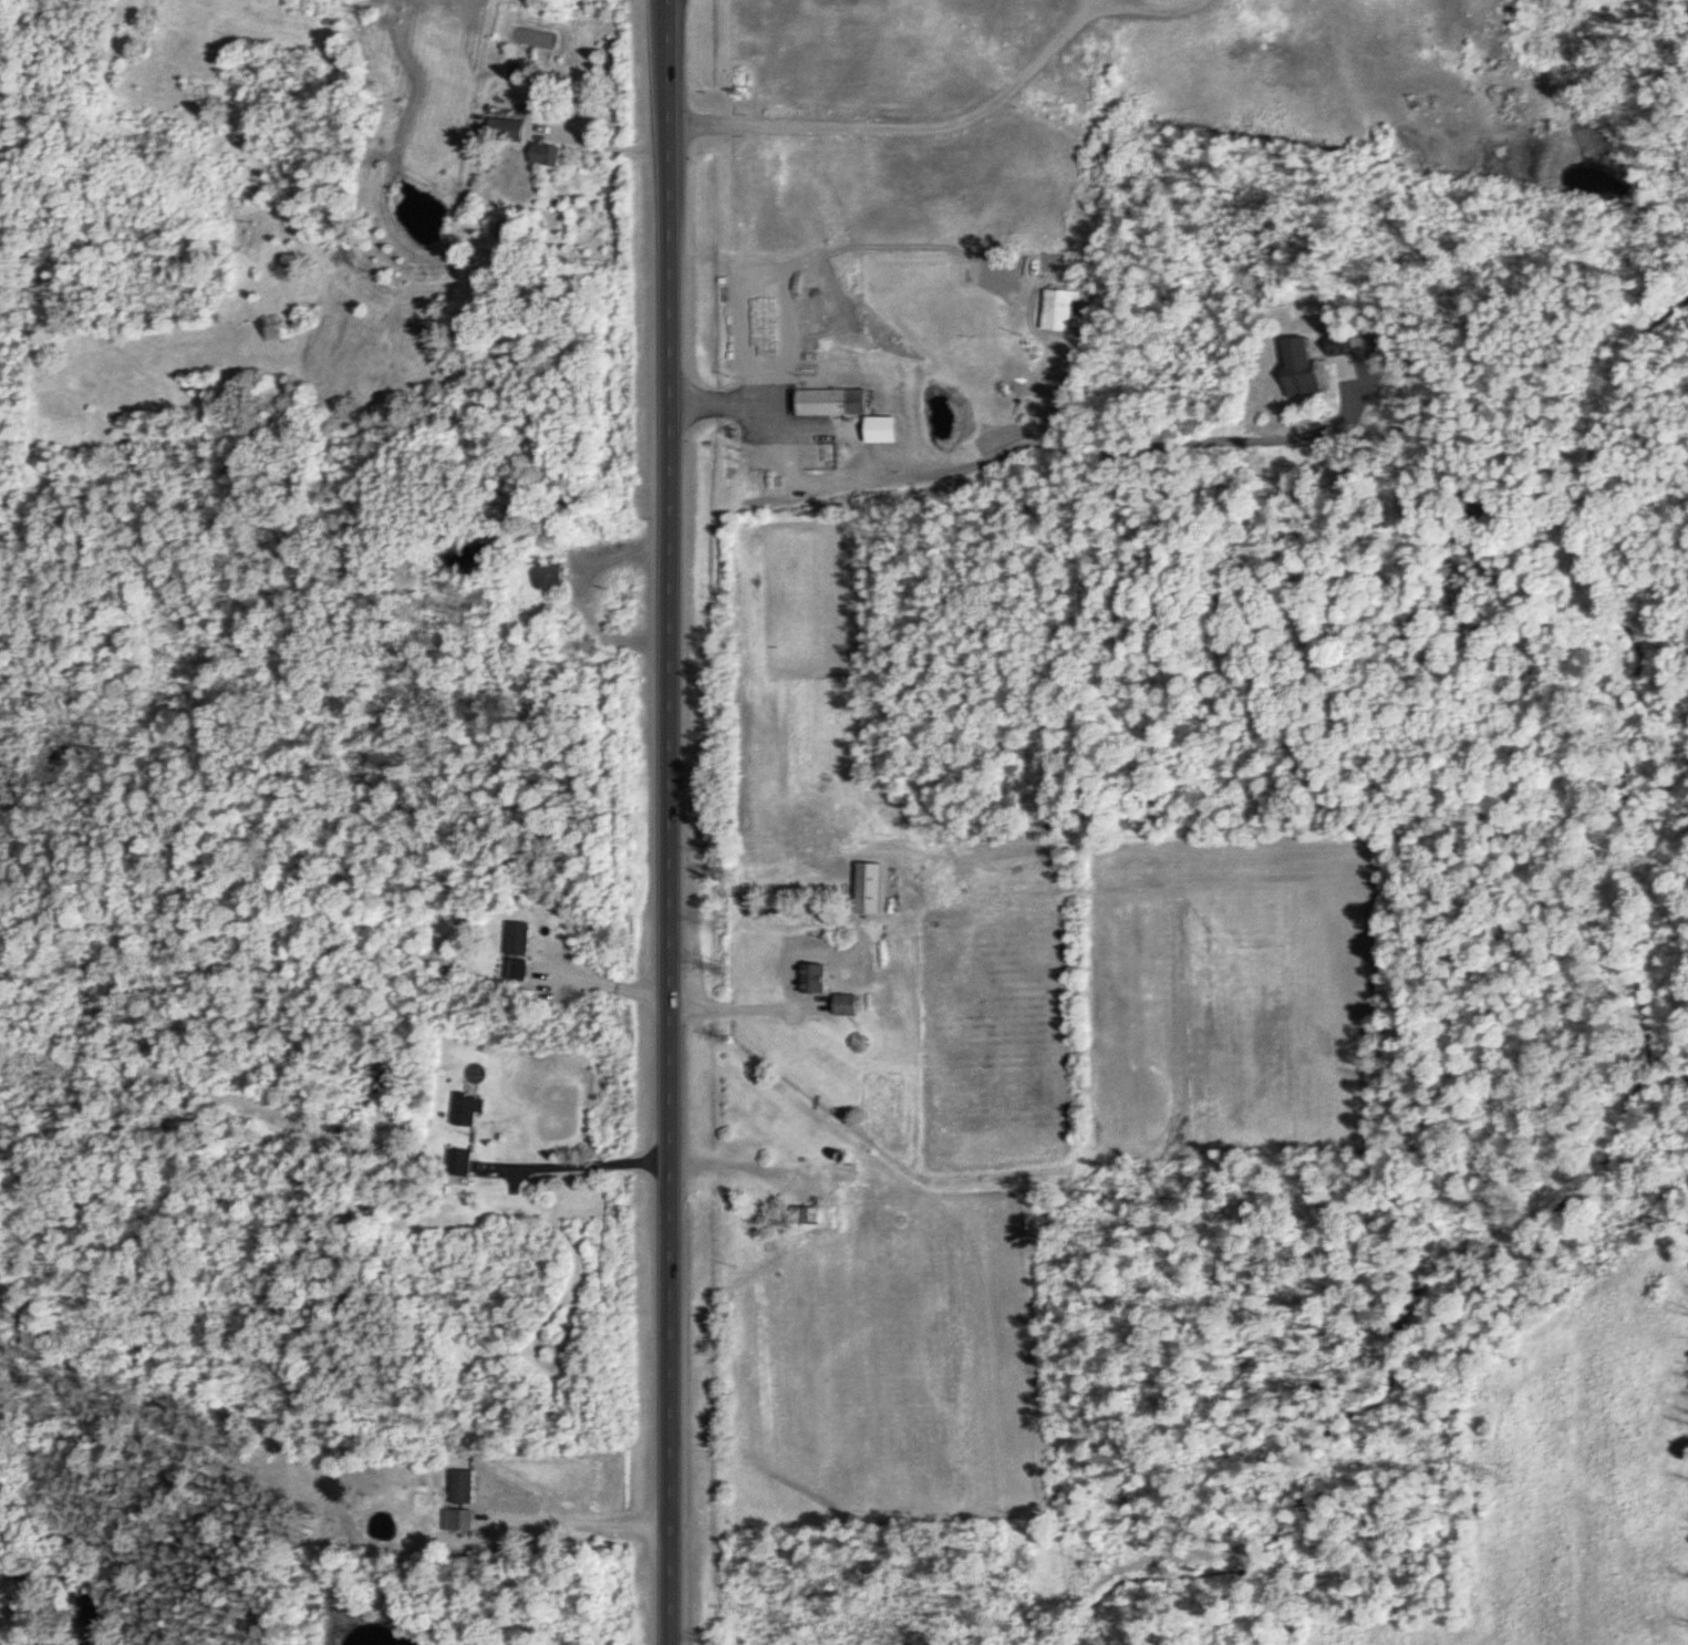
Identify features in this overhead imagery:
building: (1102, 48)
building: (505, 128)
building: (545, 154)
building: (1057, 309)
building: (1344, 343)
building: (1296, 366)
building: (829, 402)
building: (881, 430)
building: (548, 573)
road: (669, 822)
building: (868, 888)
building: (517, 950)
building: (811, 979)
building: (843, 1004)
building: (466, 1109)
building: (458, 1162)
road: (572, 1163)
building: (800, 1214)
building: (460, 1484)
building: (460, 1518)

